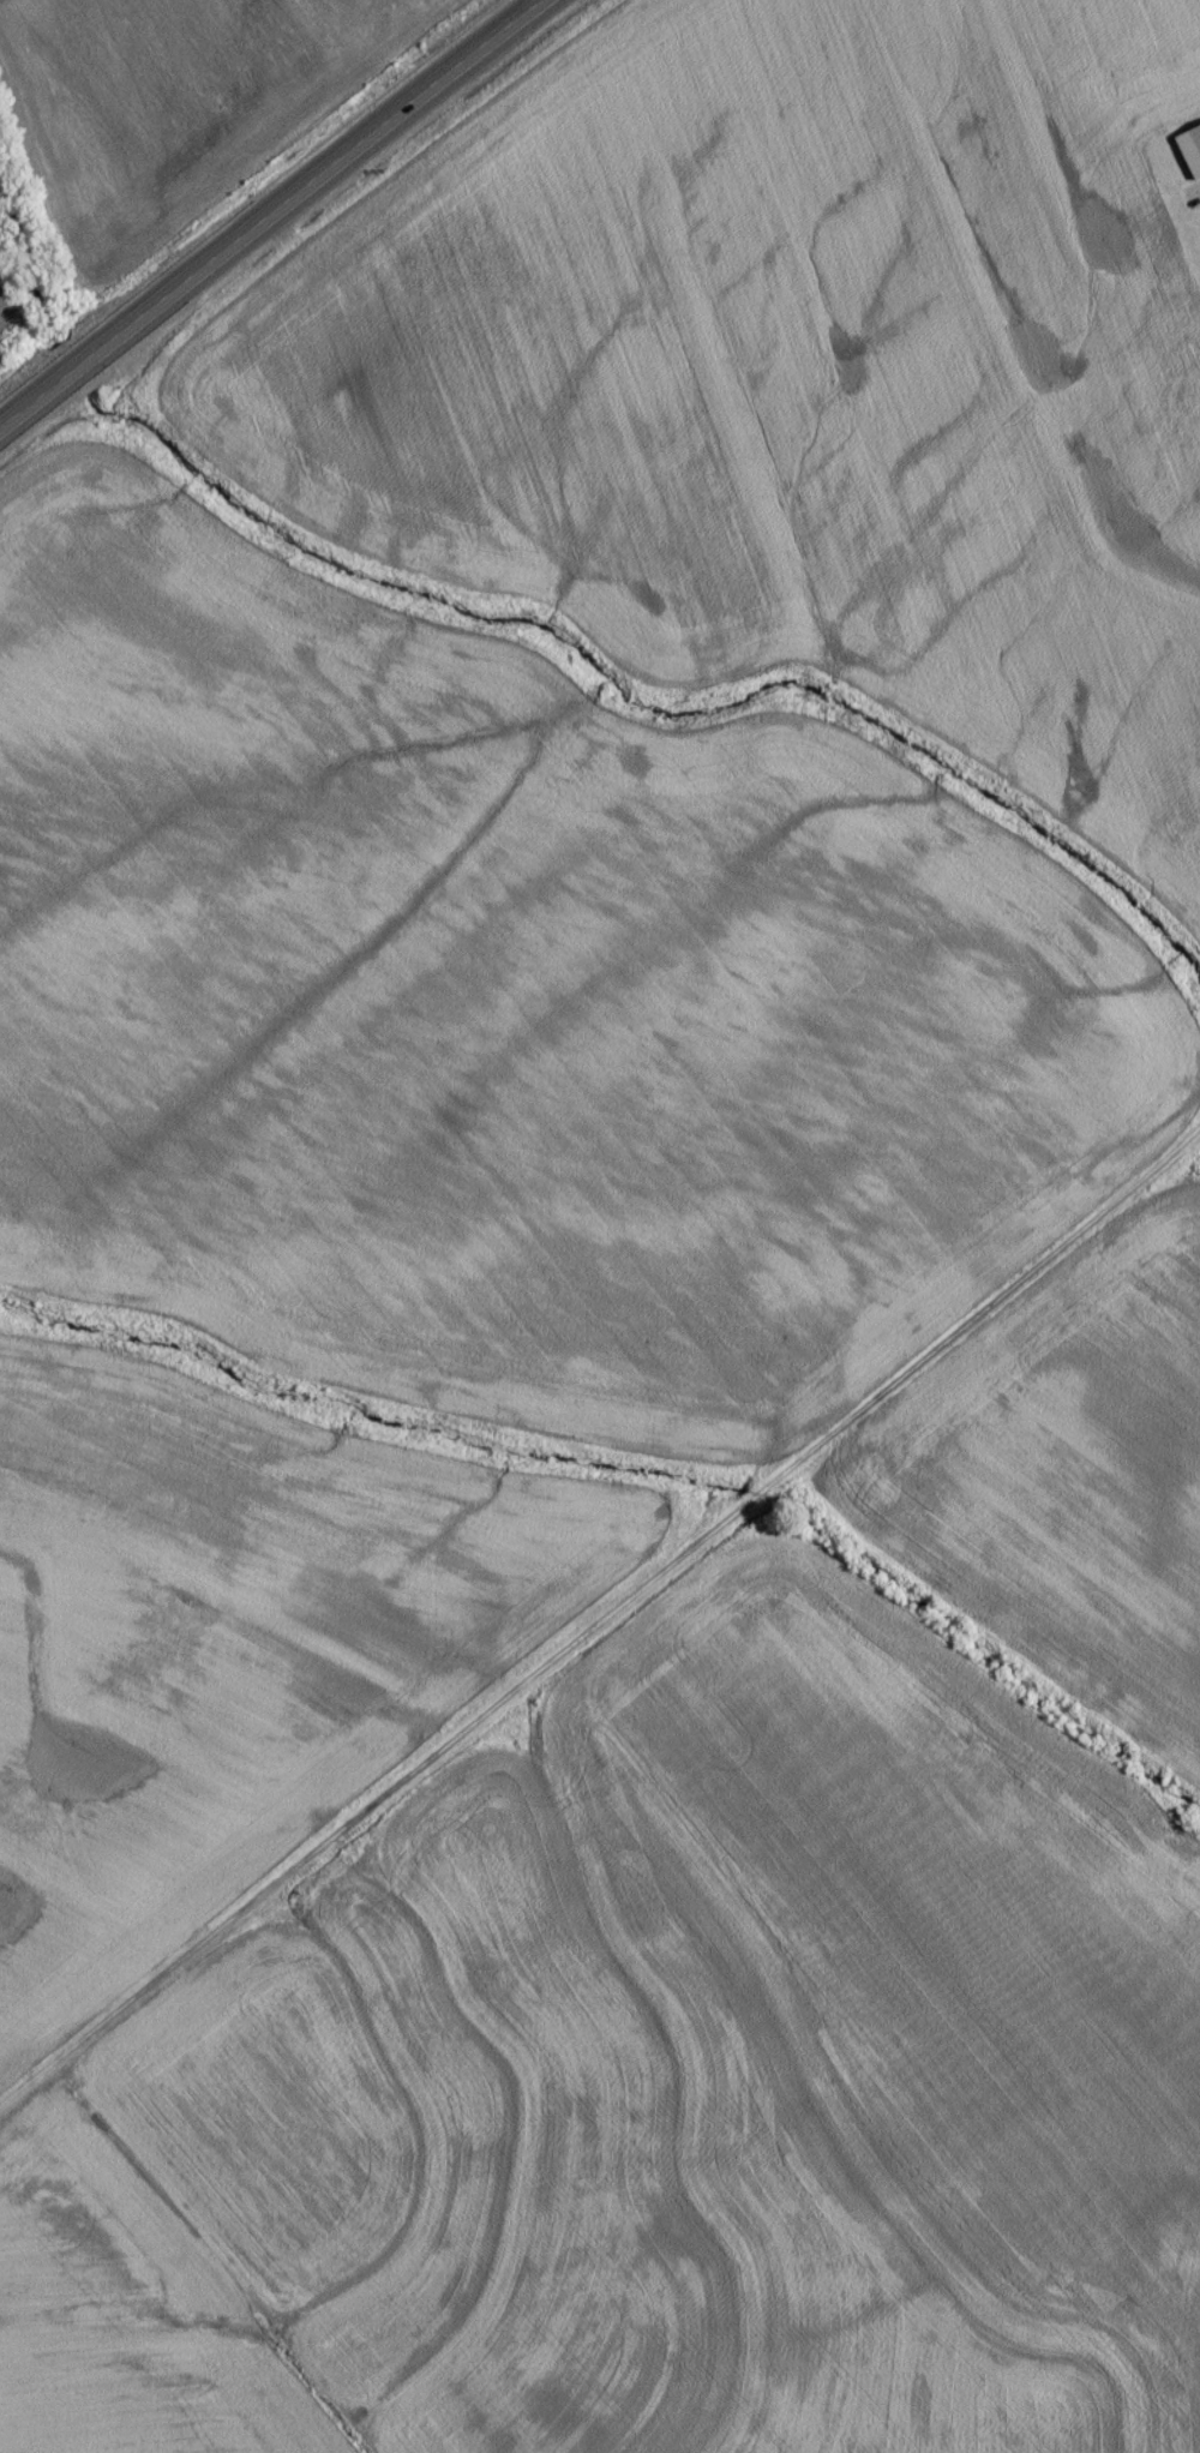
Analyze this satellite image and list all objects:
road: (269, 214)

